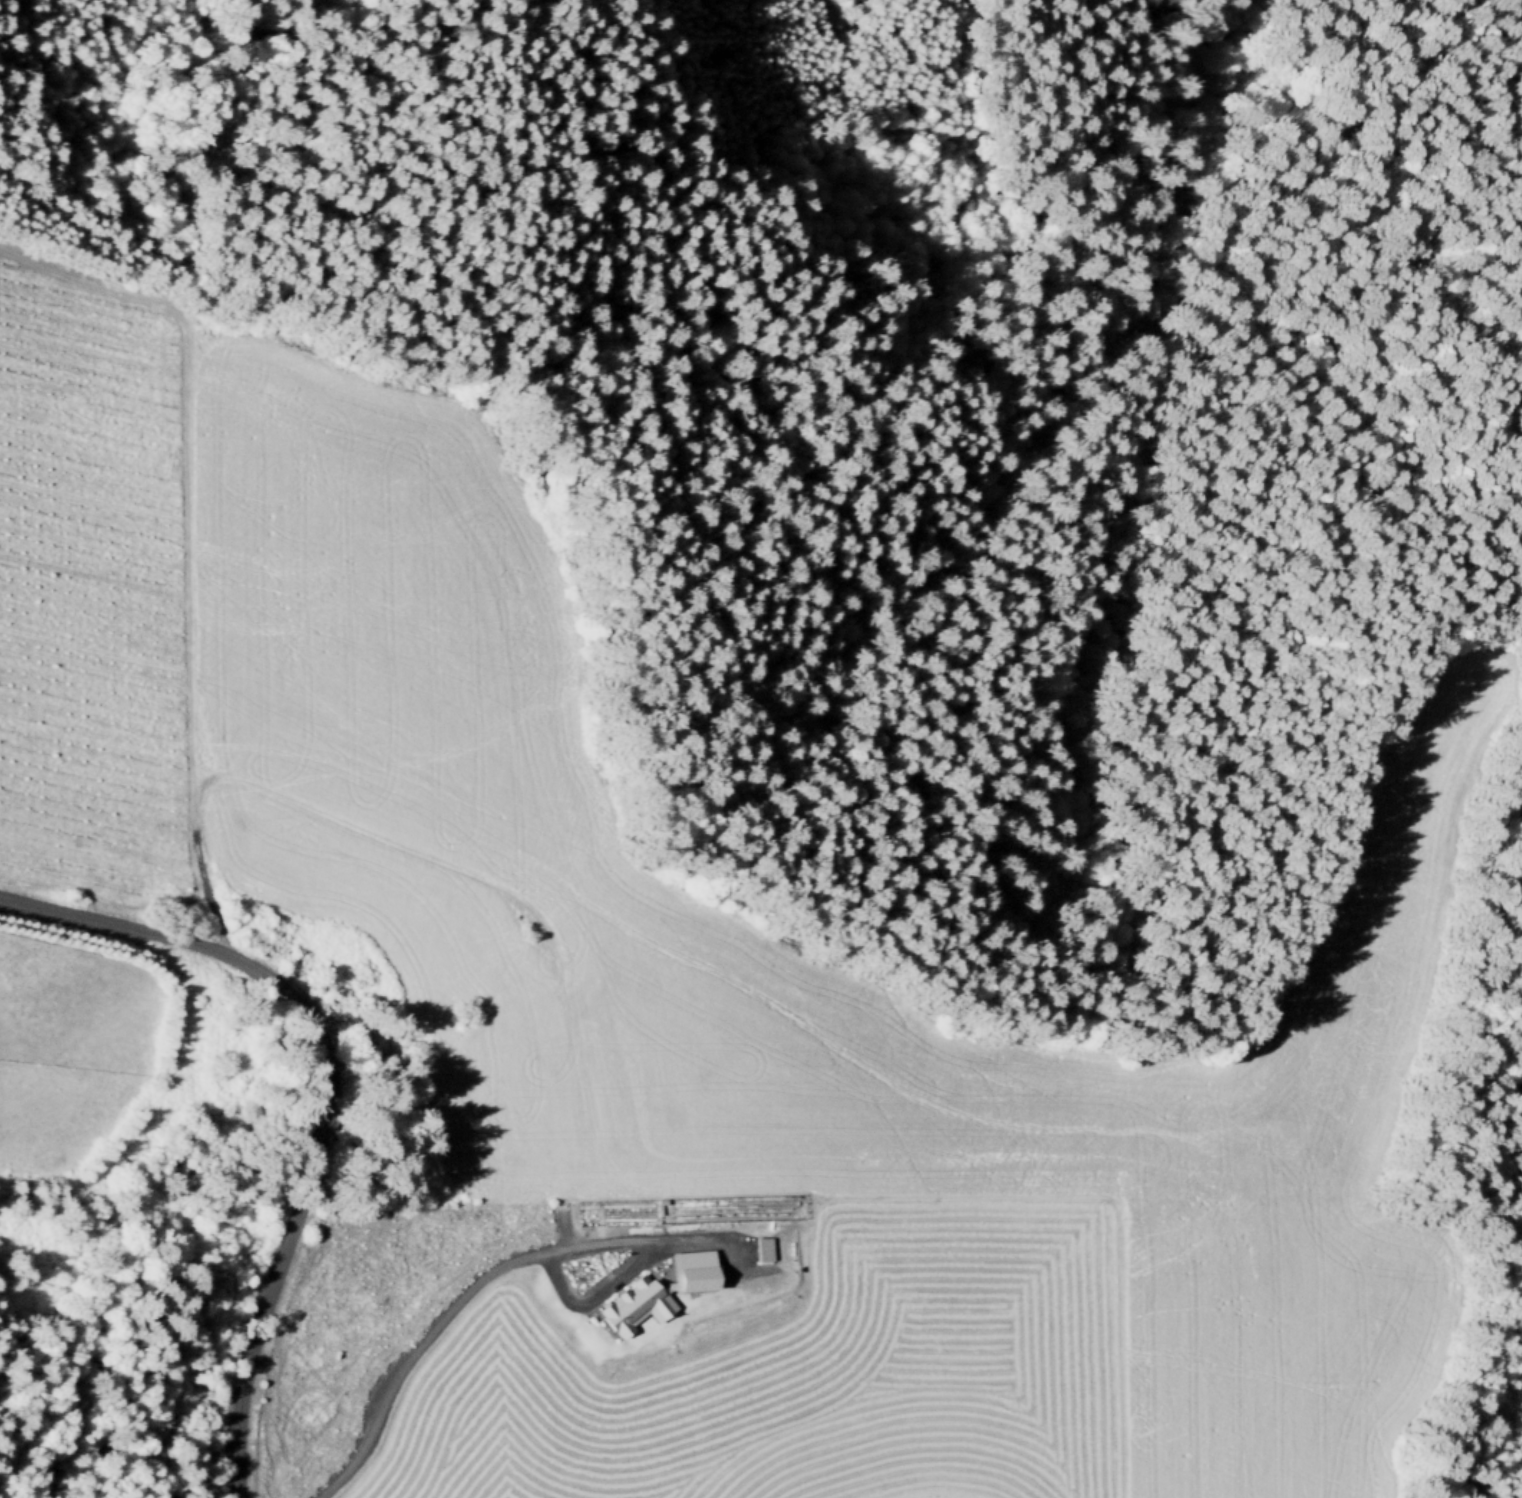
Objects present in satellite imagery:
road: (830, 8)
crop: (96, 593)
crop: (399, 762)
road: (448, 865)
road: (333, 1091)
building: (764, 1248)
building: (660, 1290)
crop: (1263, 1343)
road: (412, 1345)
crop: (767, 1359)

